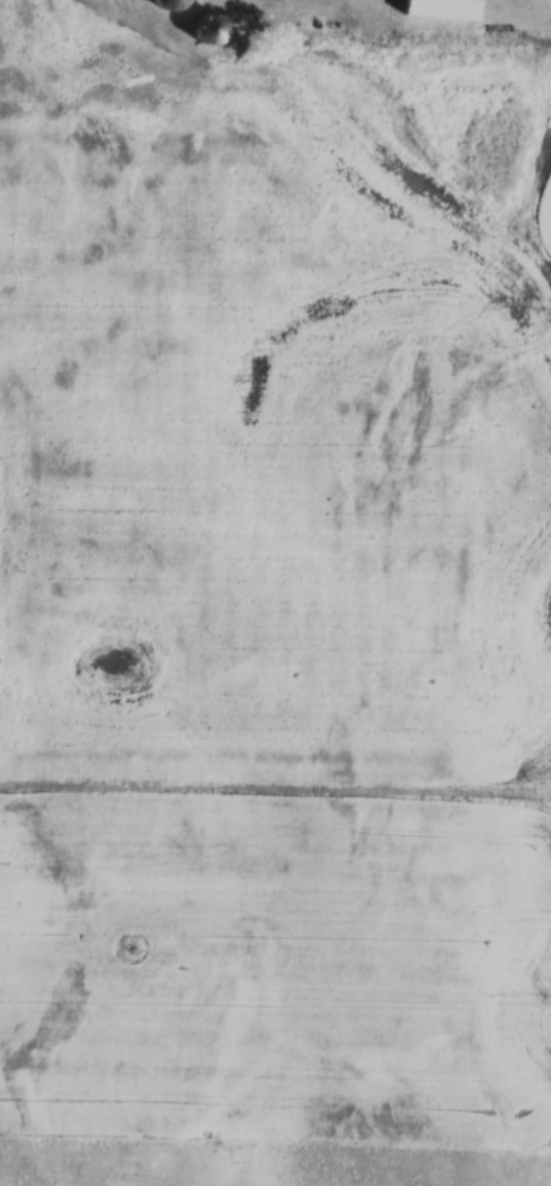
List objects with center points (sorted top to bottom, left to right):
building: (165, 2)

